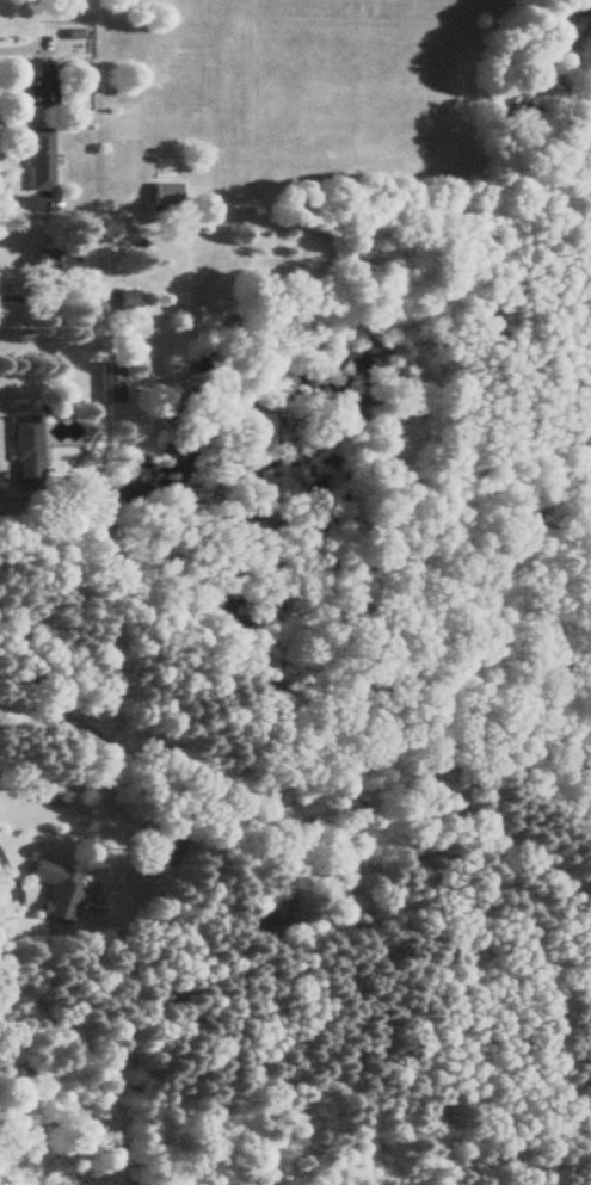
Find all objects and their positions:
building: (37, 86)
building: (37, 160)
building: (161, 195)
building: (49, 263)
building: (119, 301)
building: (105, 382)
building: (23, 453)
building: (55, 890)

